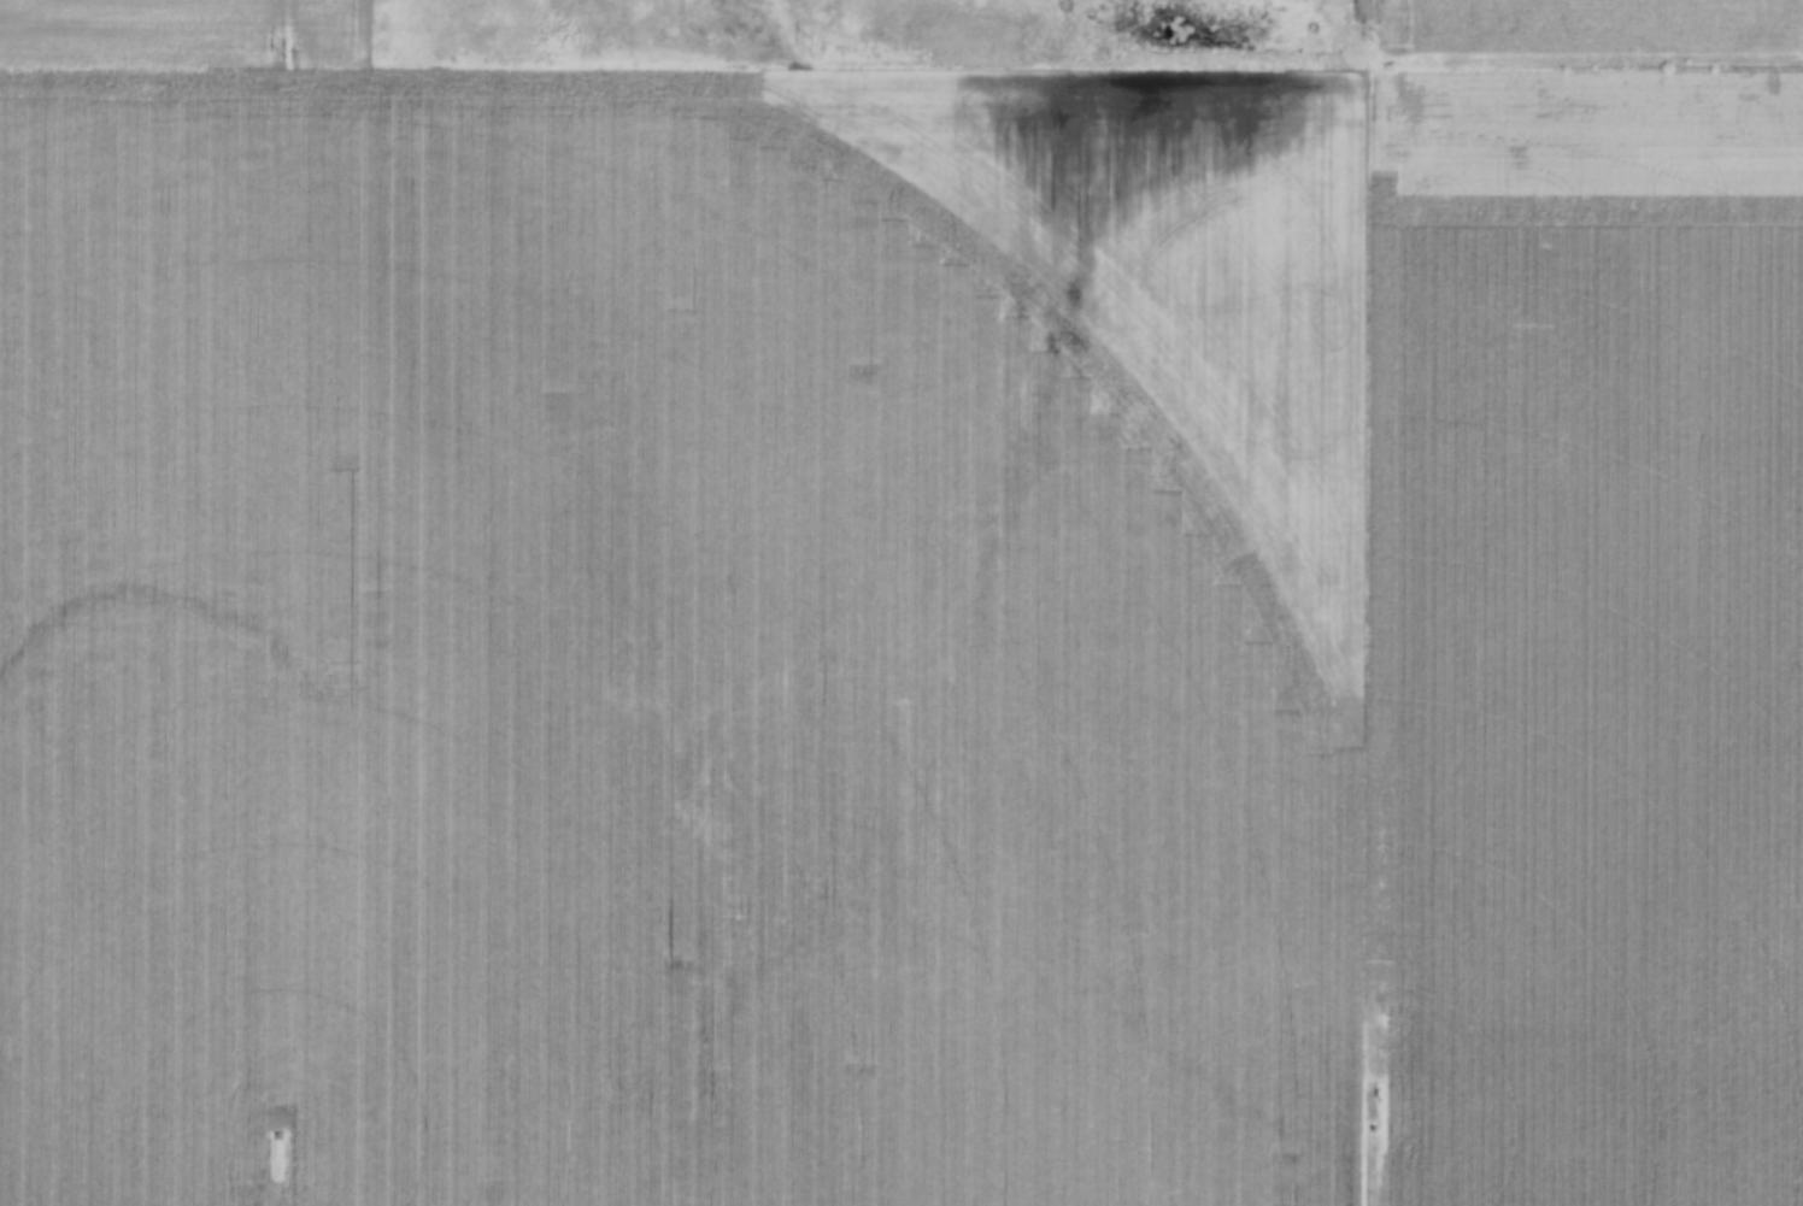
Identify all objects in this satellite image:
power tower: (1376, 39)
power tower: (809, 45)
power tower: (284, 52)

